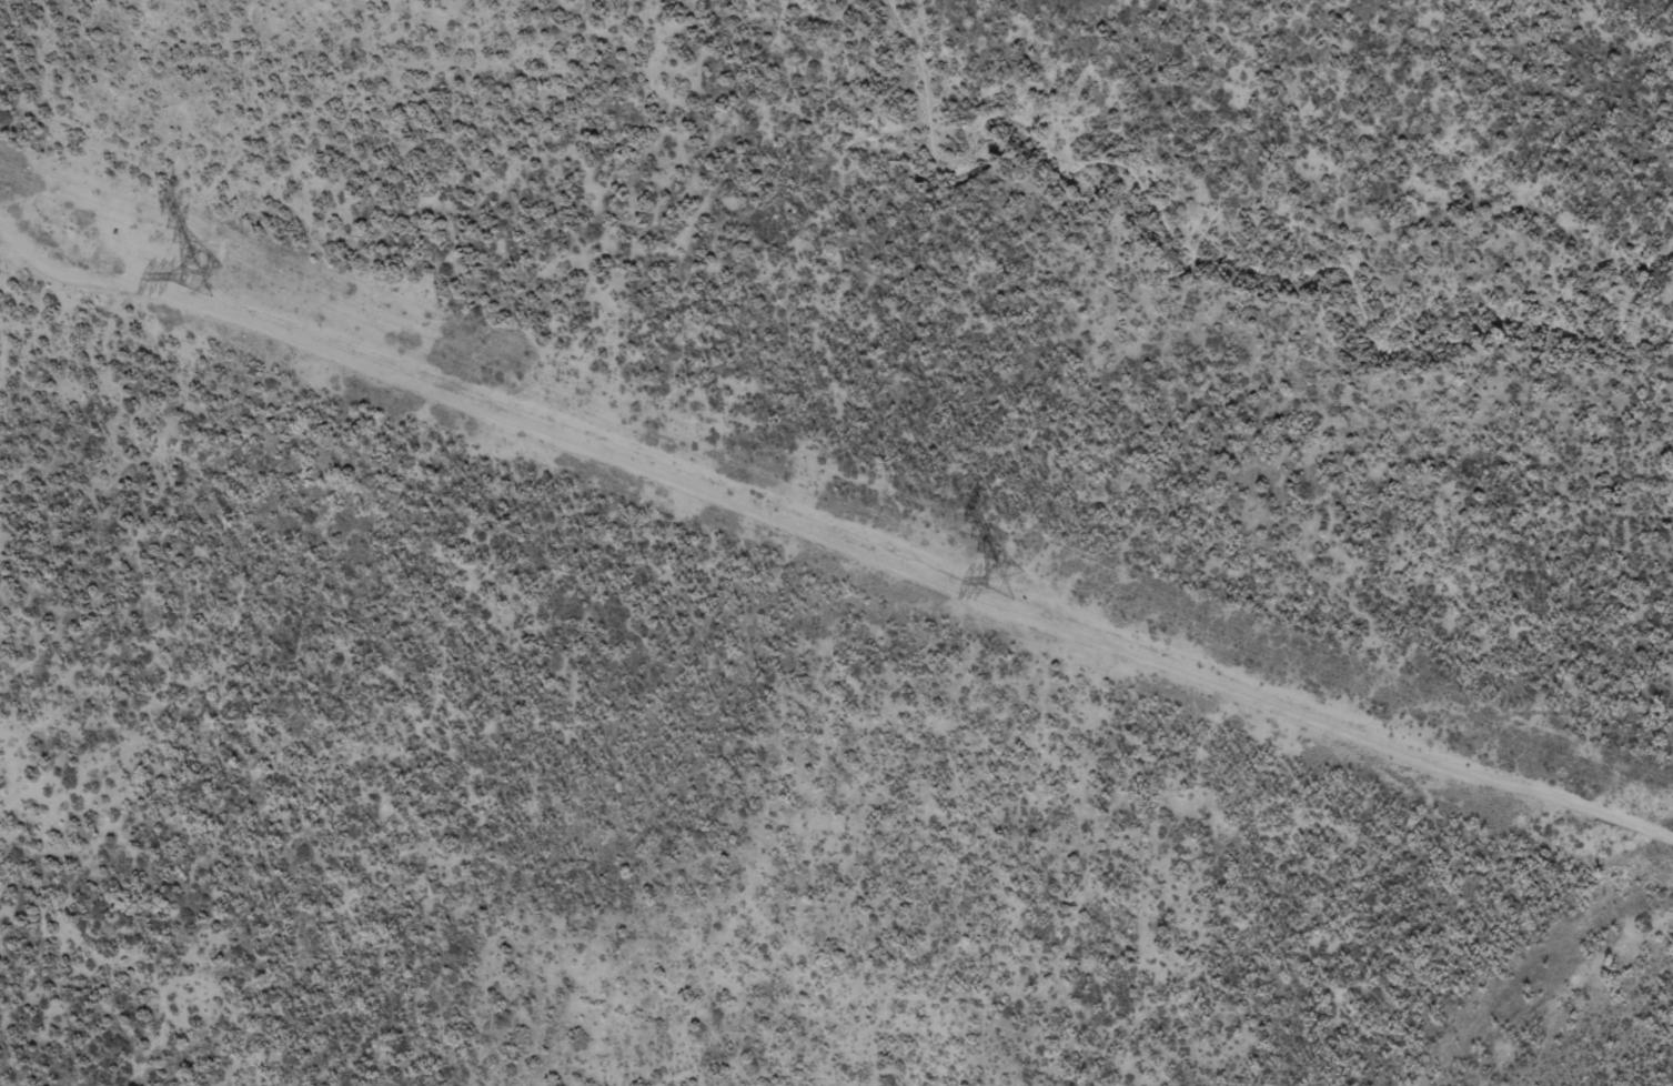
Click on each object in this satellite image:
power tower: (202, 275)
power tower: (1006, 580)

